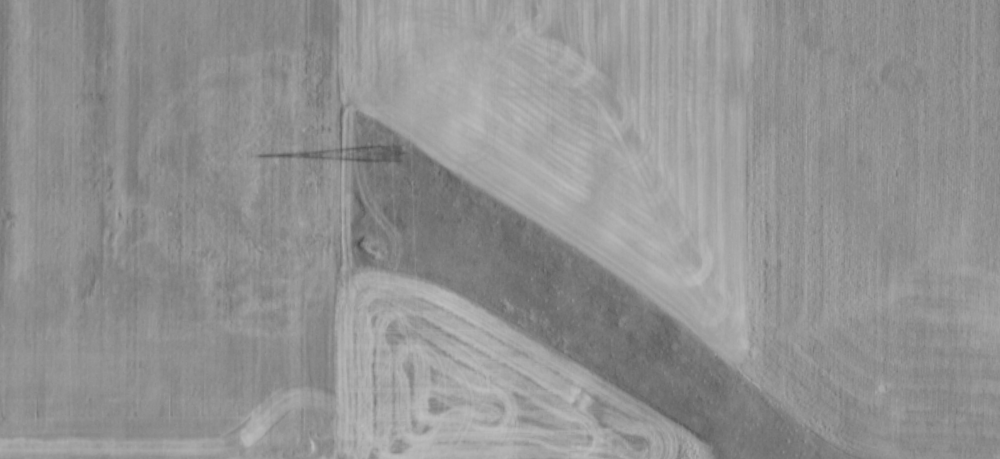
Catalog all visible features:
power tower: (383, 151)

